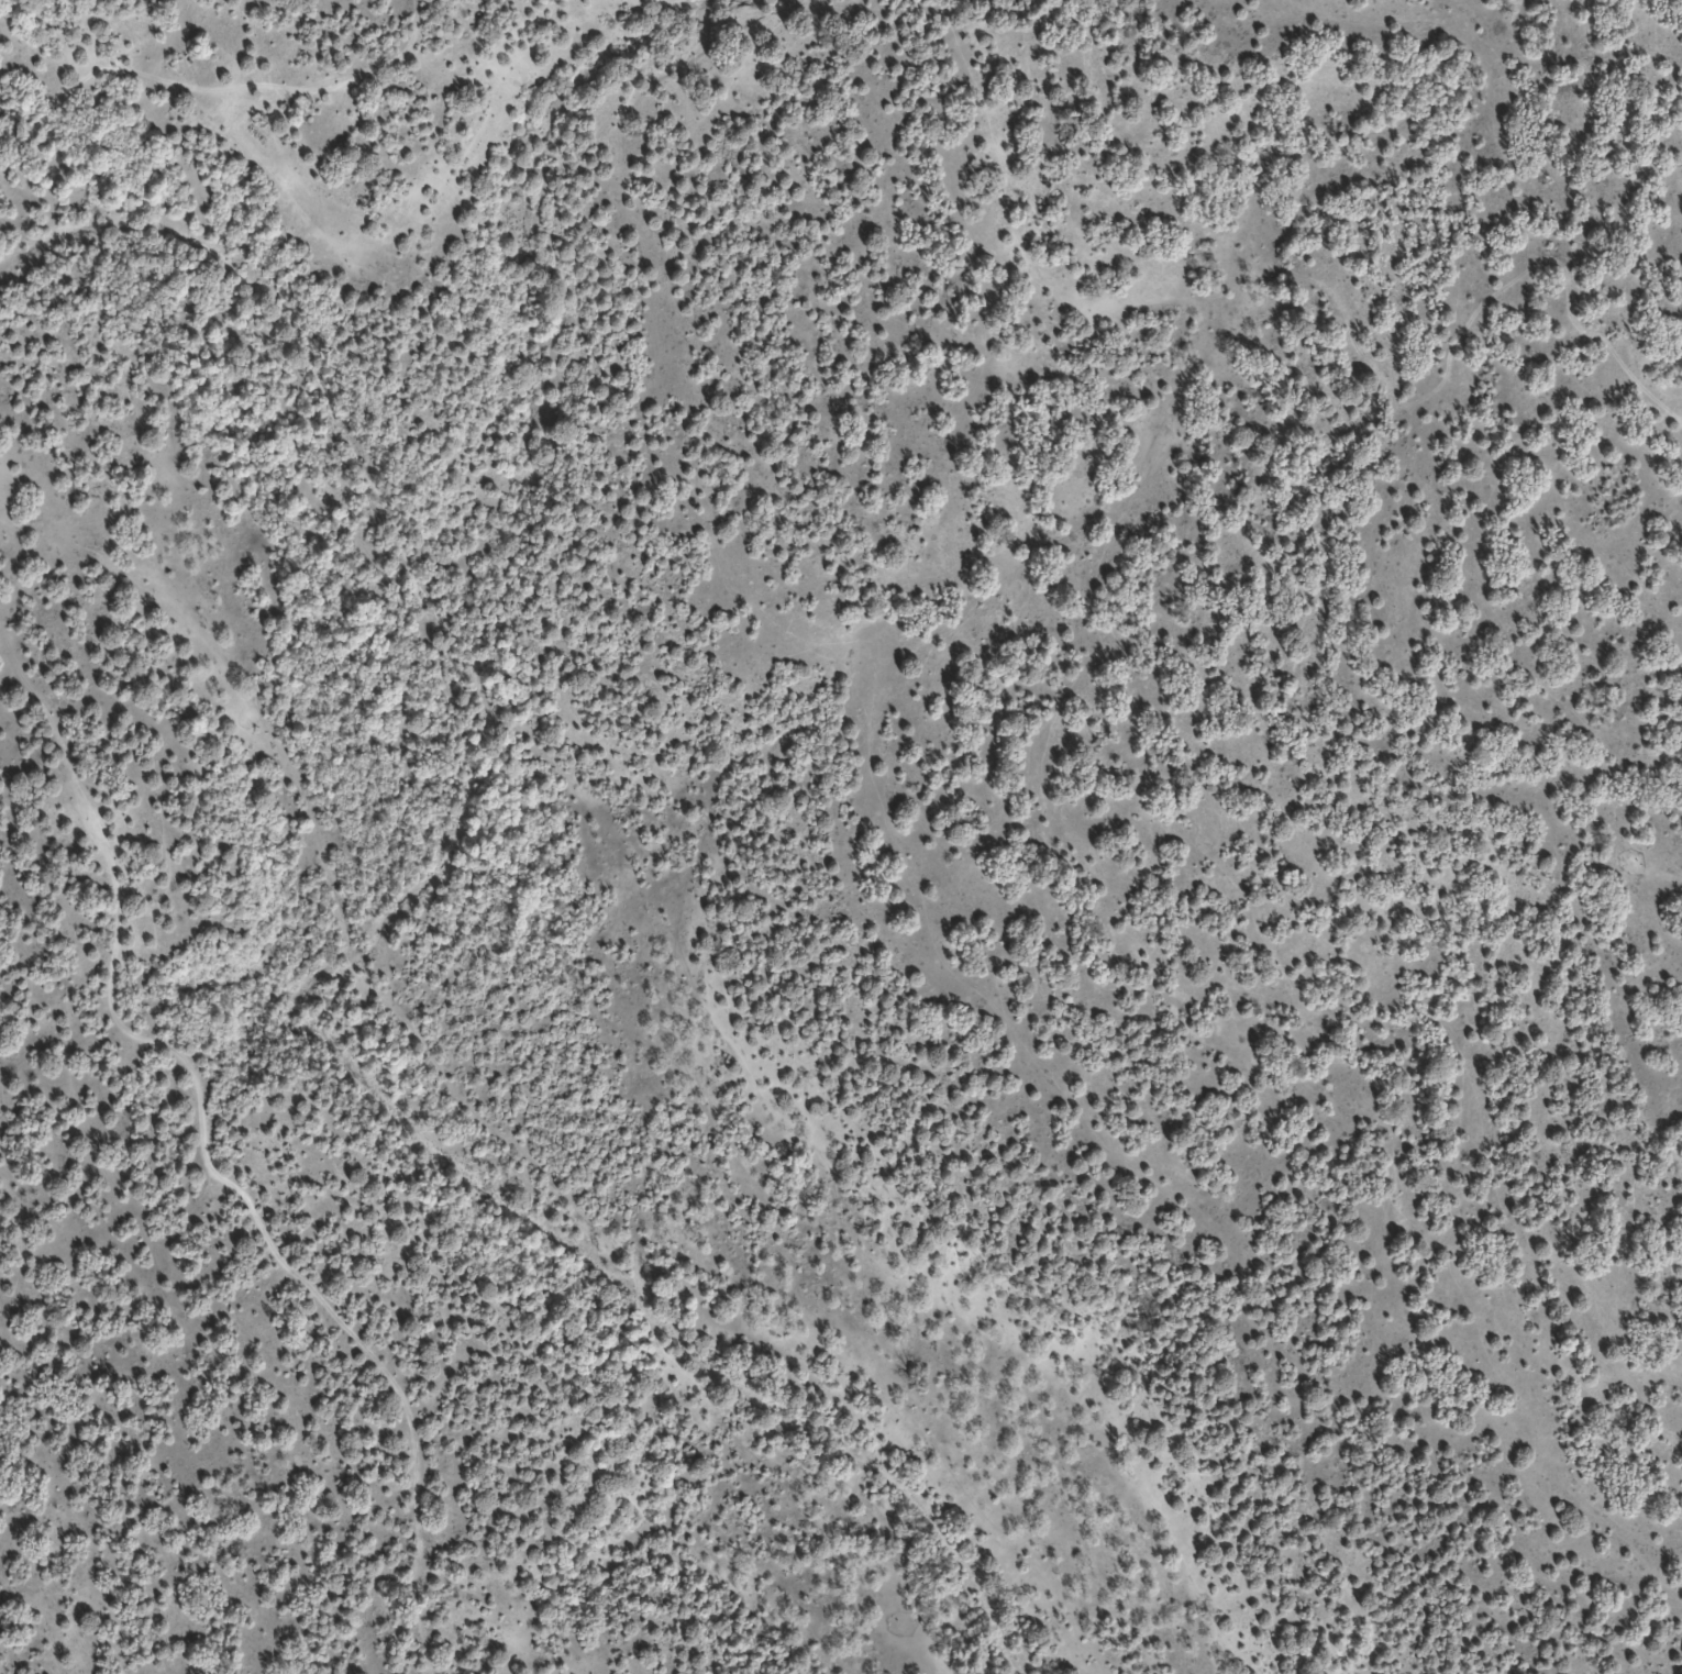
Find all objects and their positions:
road: (212, 71)
road: (247, 1176)

